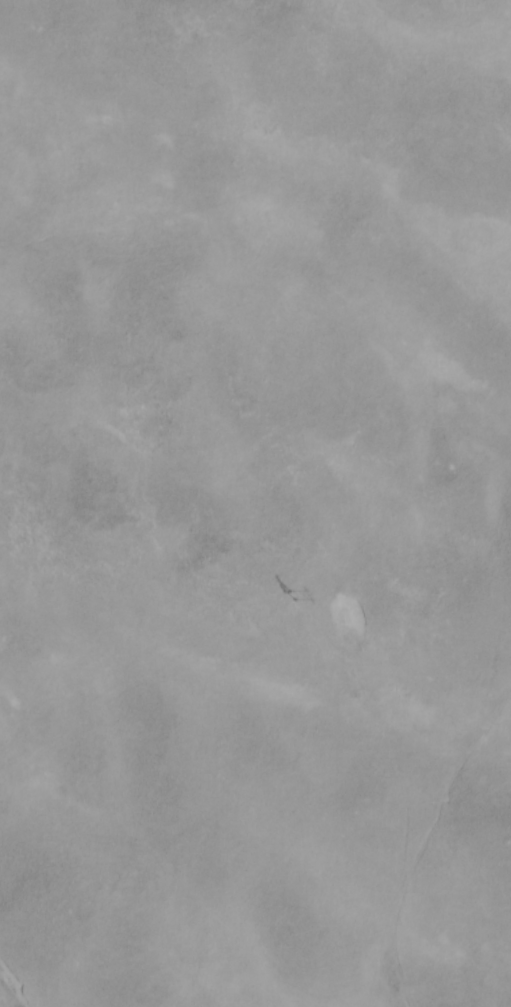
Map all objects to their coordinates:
power tower: (291, 596)

